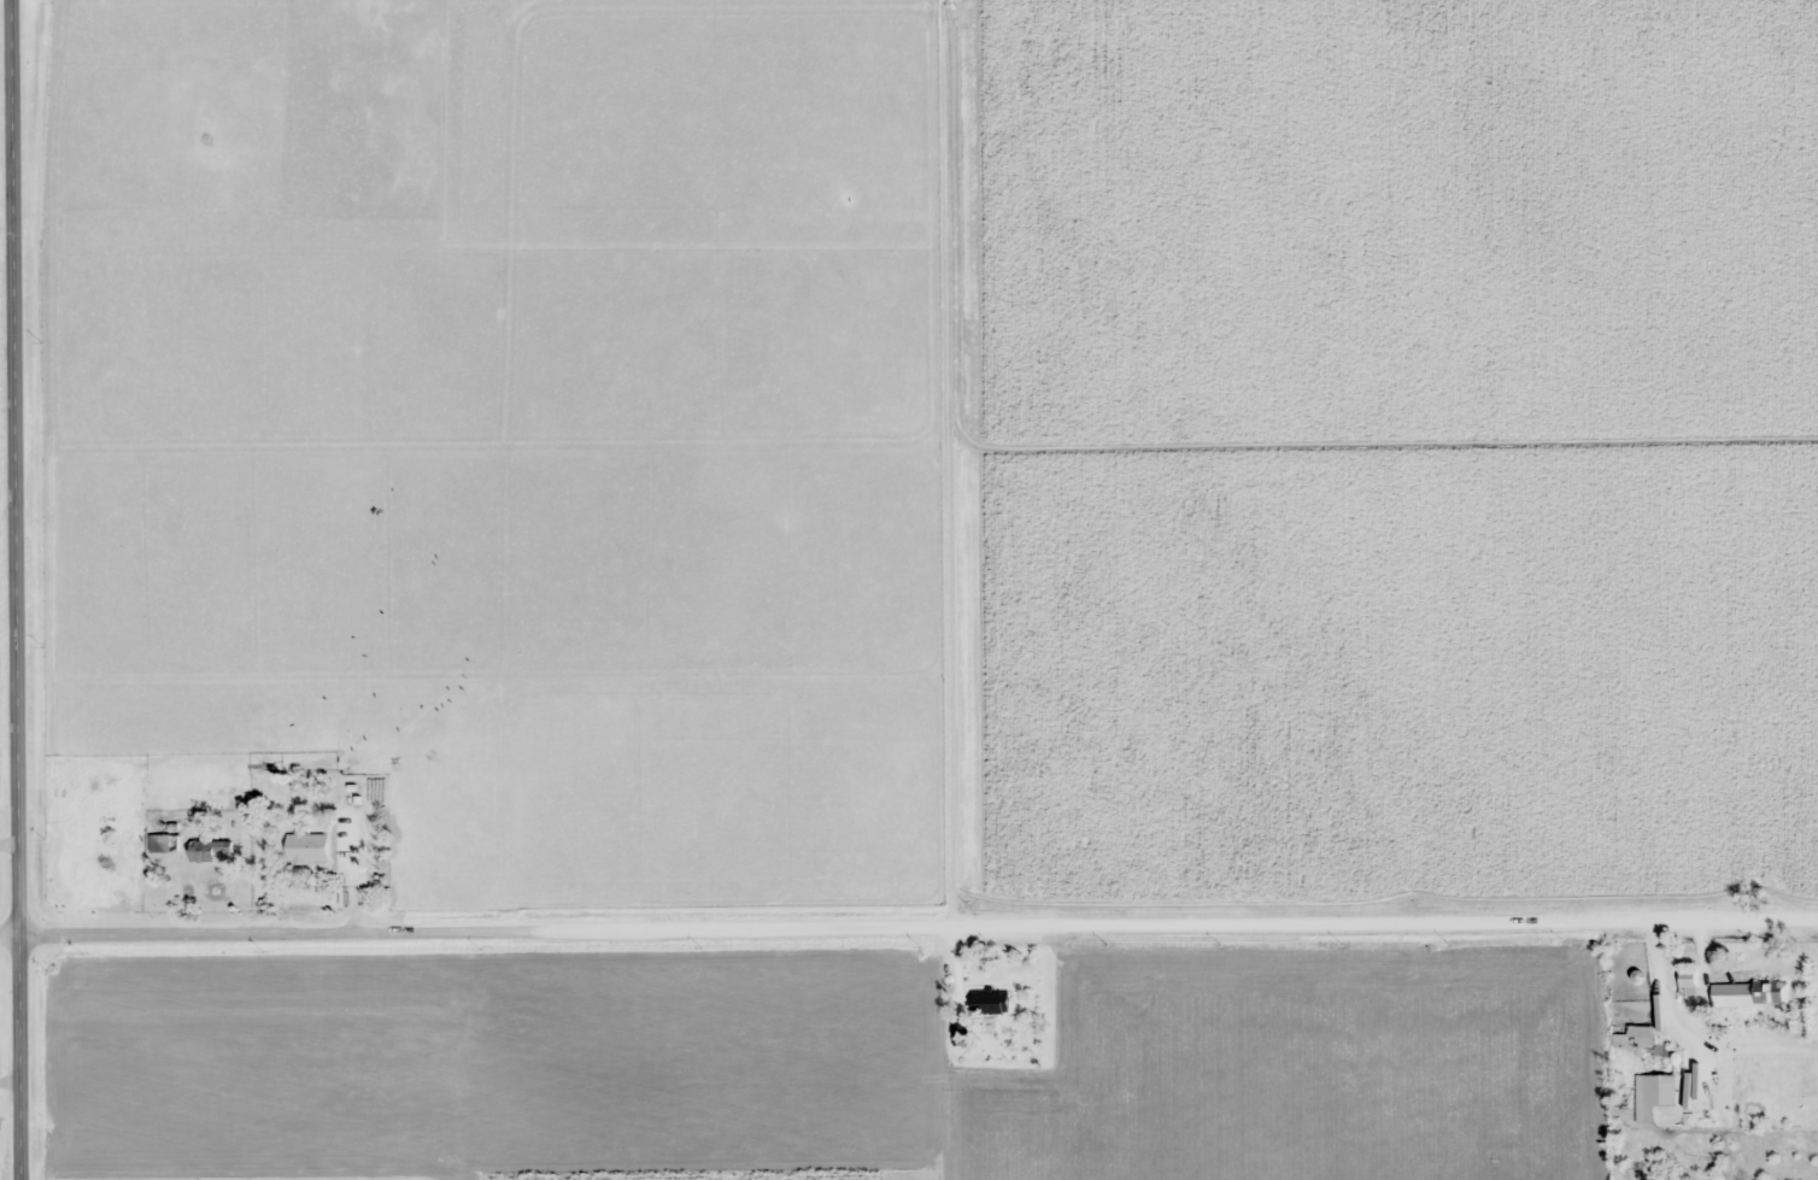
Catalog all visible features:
road: (16, 589)
building: (110, 787)
building: (163, 844)
building: (306, 849)
building: (201, 851)
road: (908, 920)
building: (1748, 994)
building: (990, 1003)
building: (1649, 1067)

